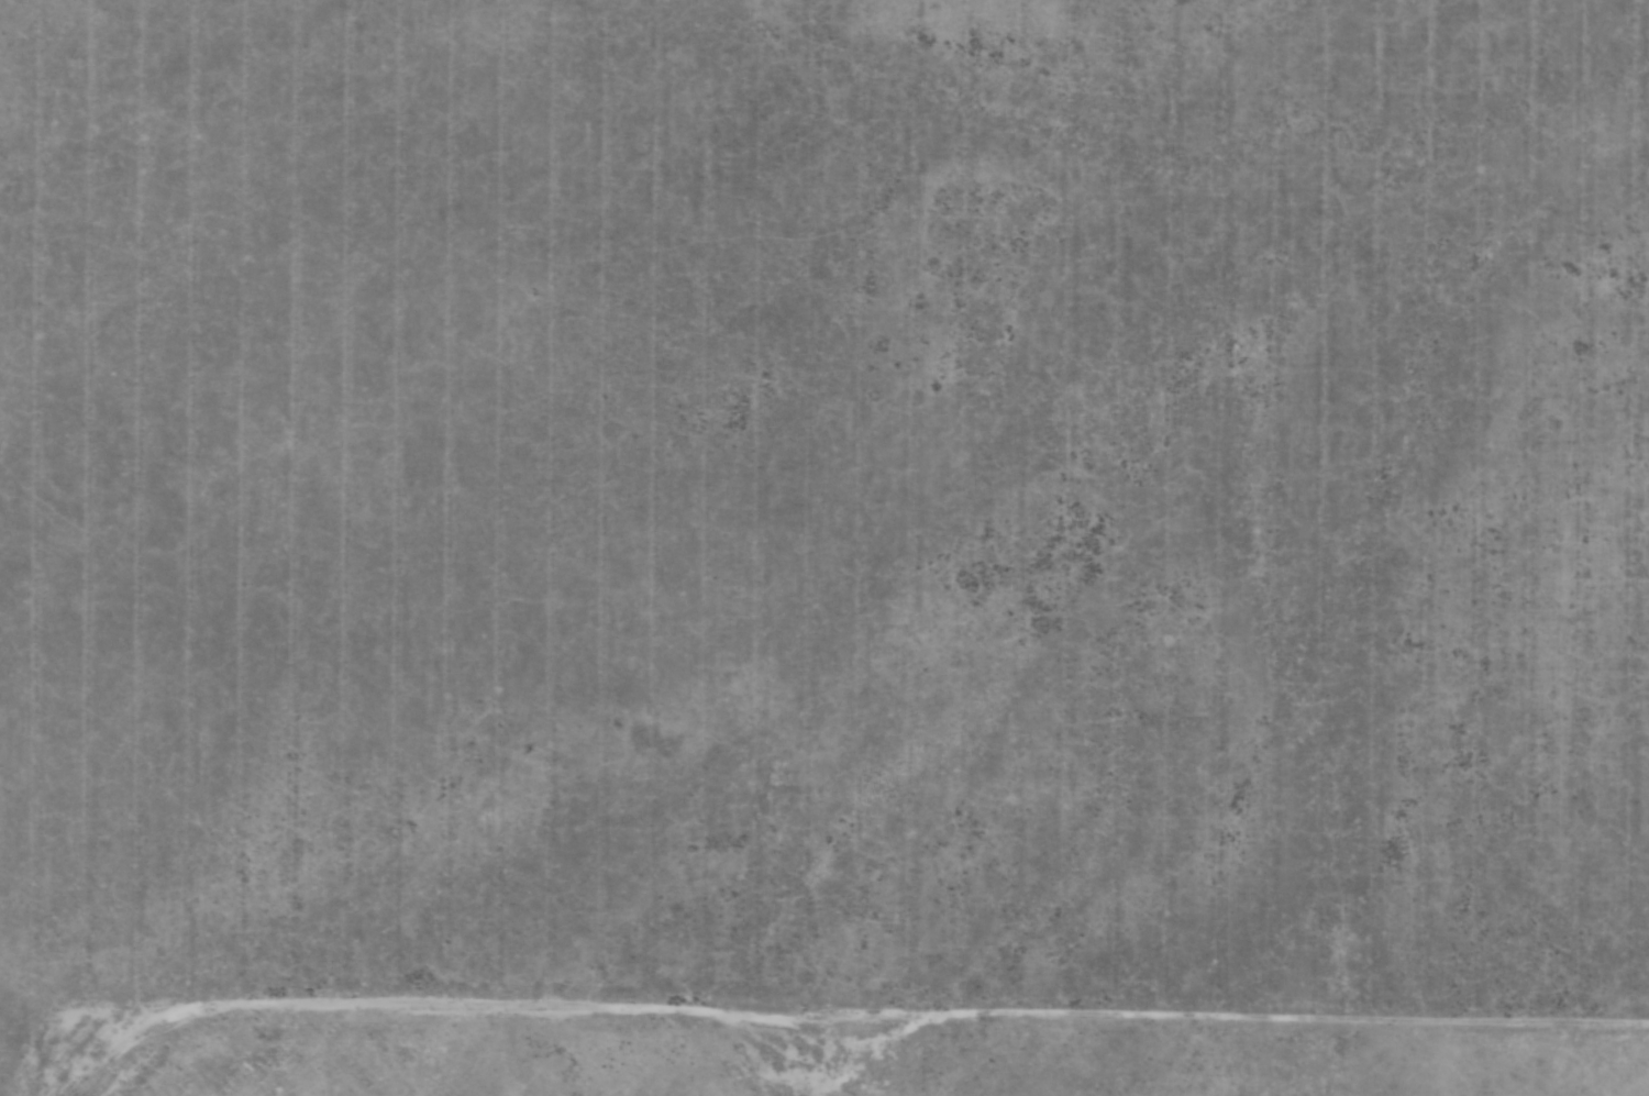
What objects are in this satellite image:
road: (840, 1011)

